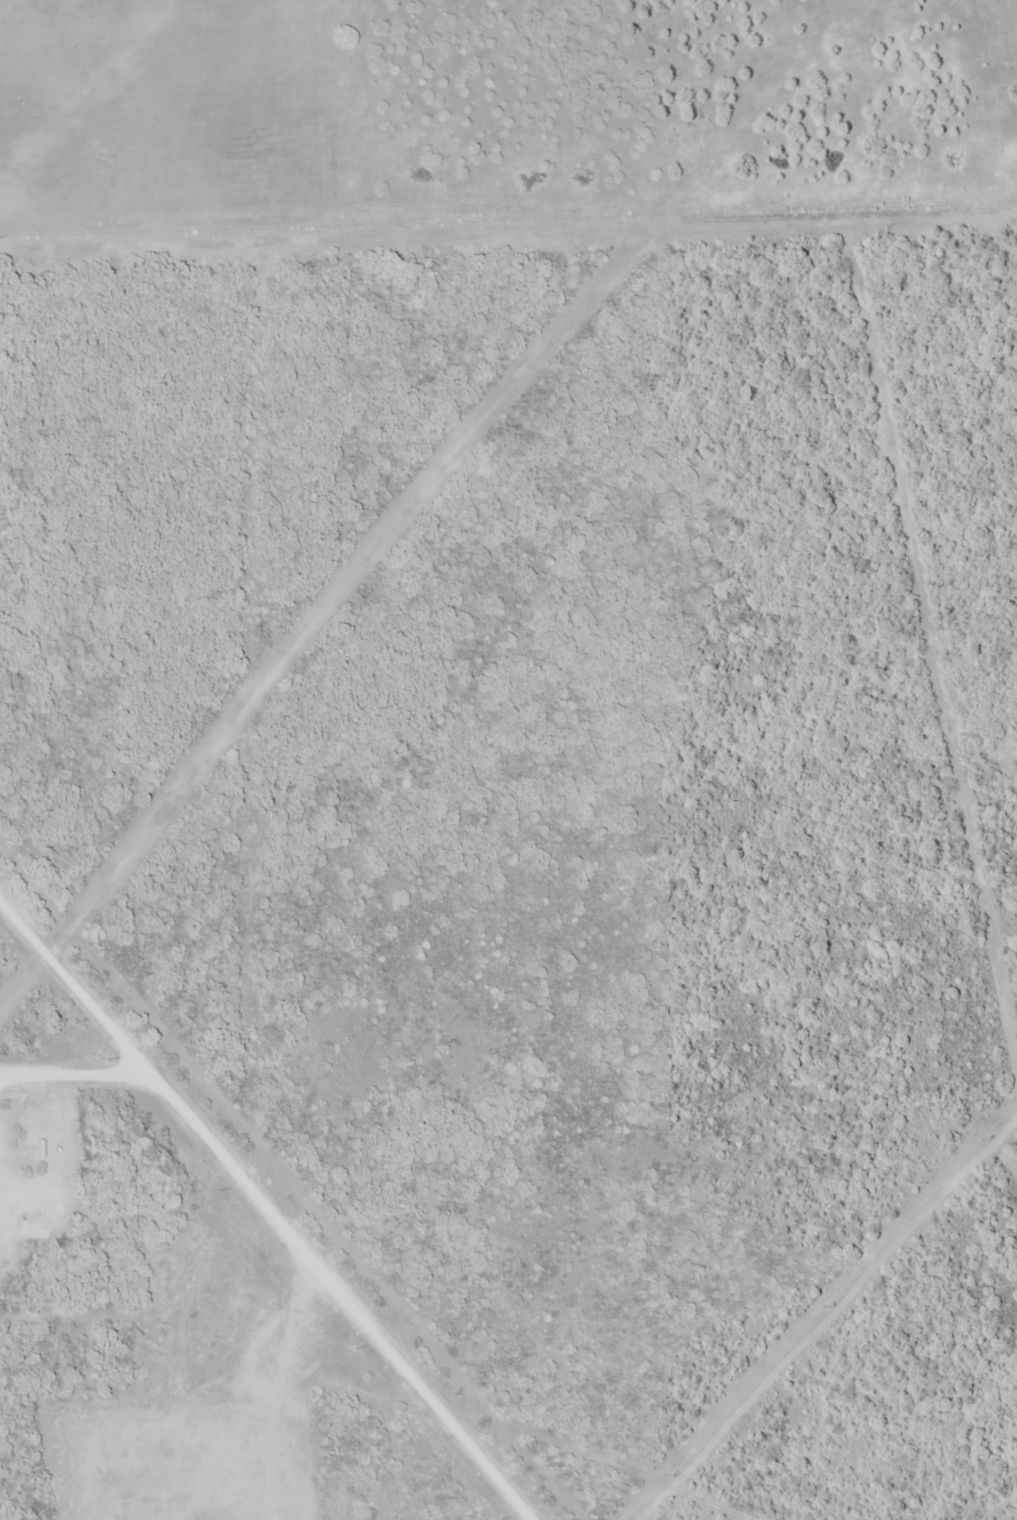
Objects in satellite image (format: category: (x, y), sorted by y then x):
road: (59, 1056)
road: (251, 1223)

